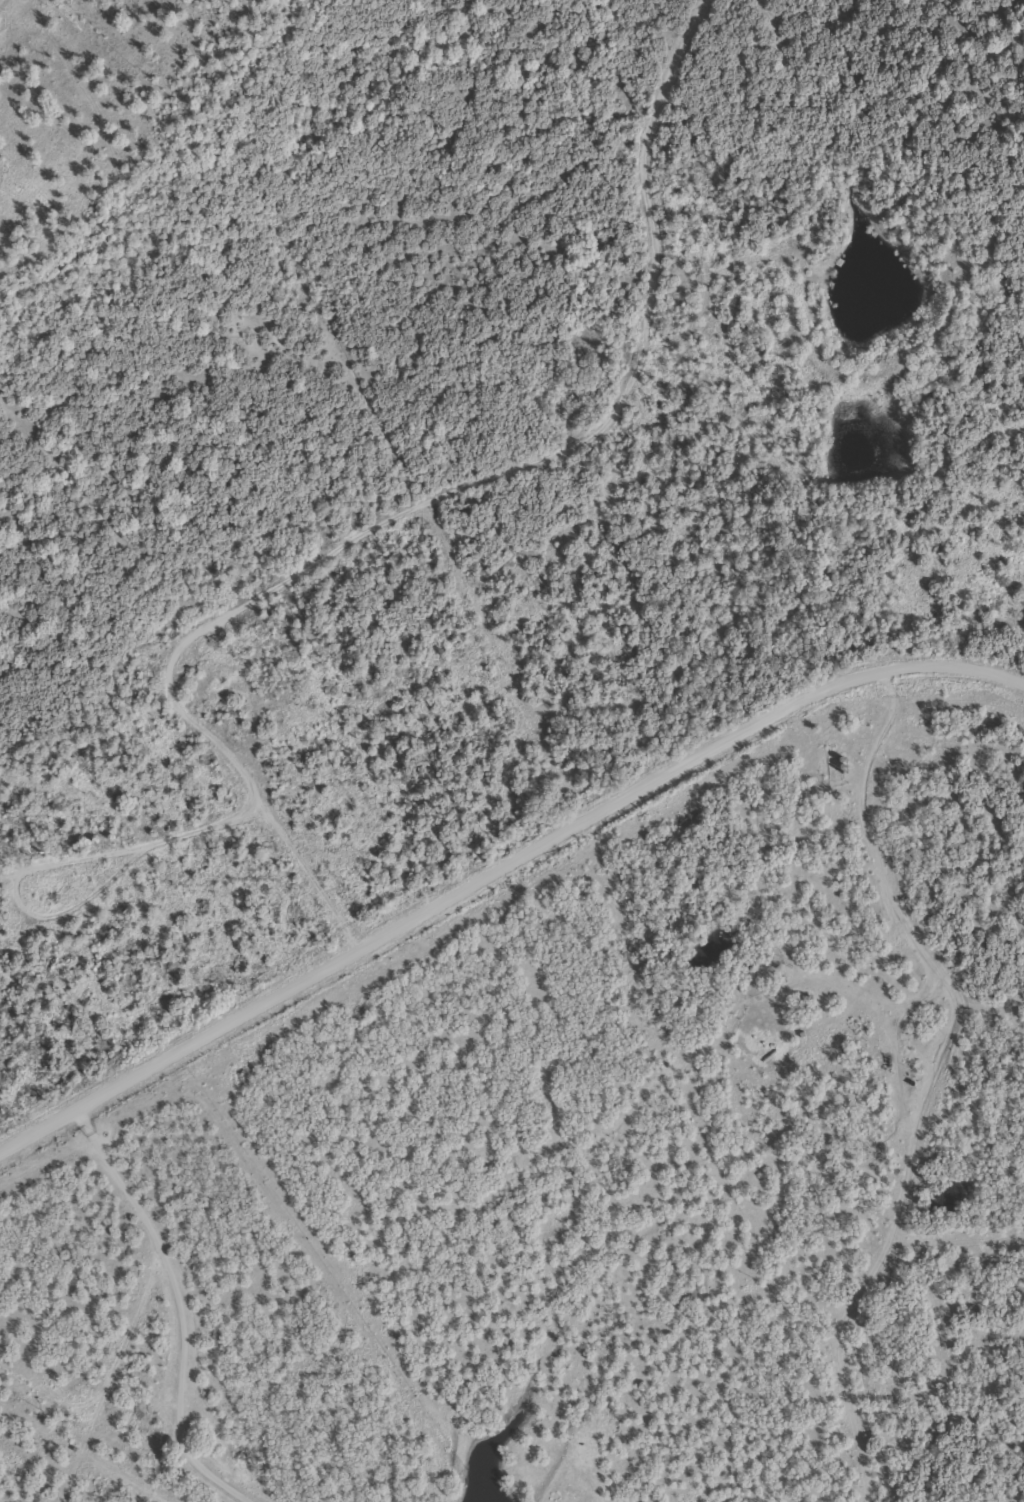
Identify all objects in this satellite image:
road: (416, 507)
road: (500, 870)
building: (808, 1001)

